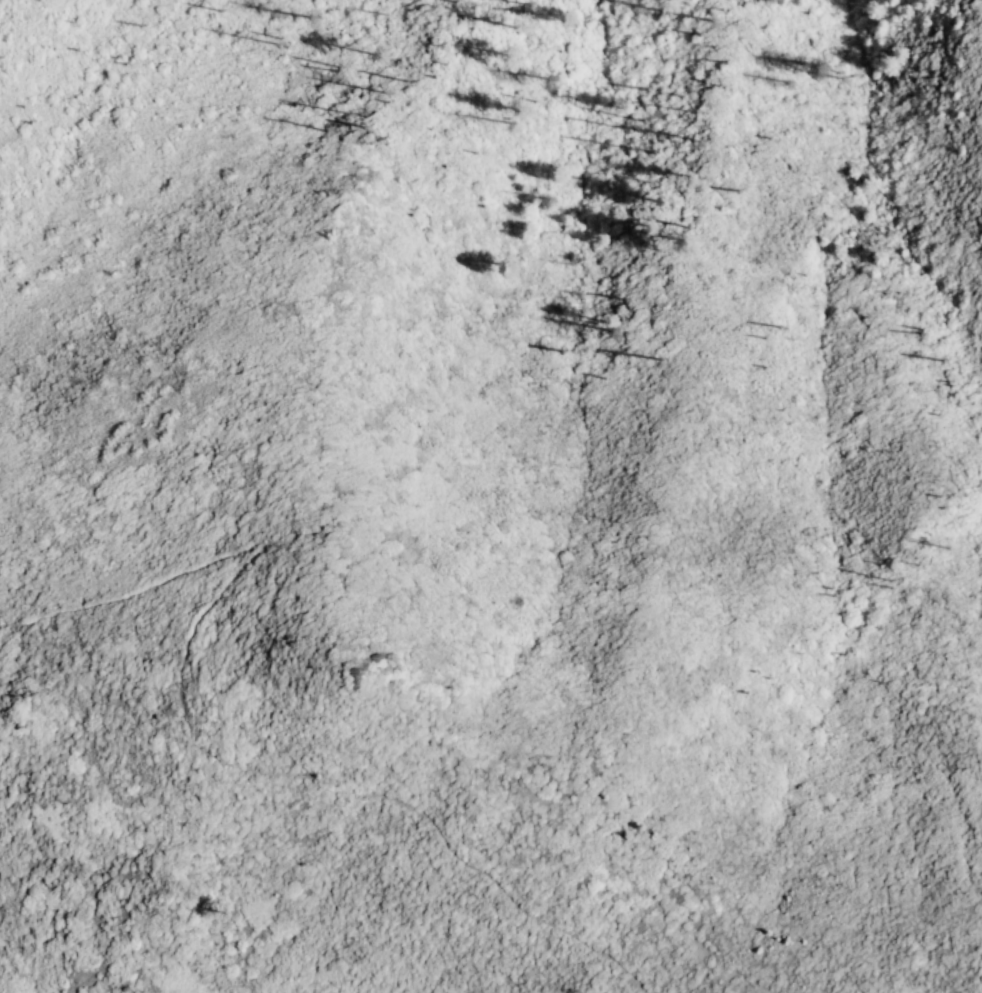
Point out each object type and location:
road: (201, 751)

